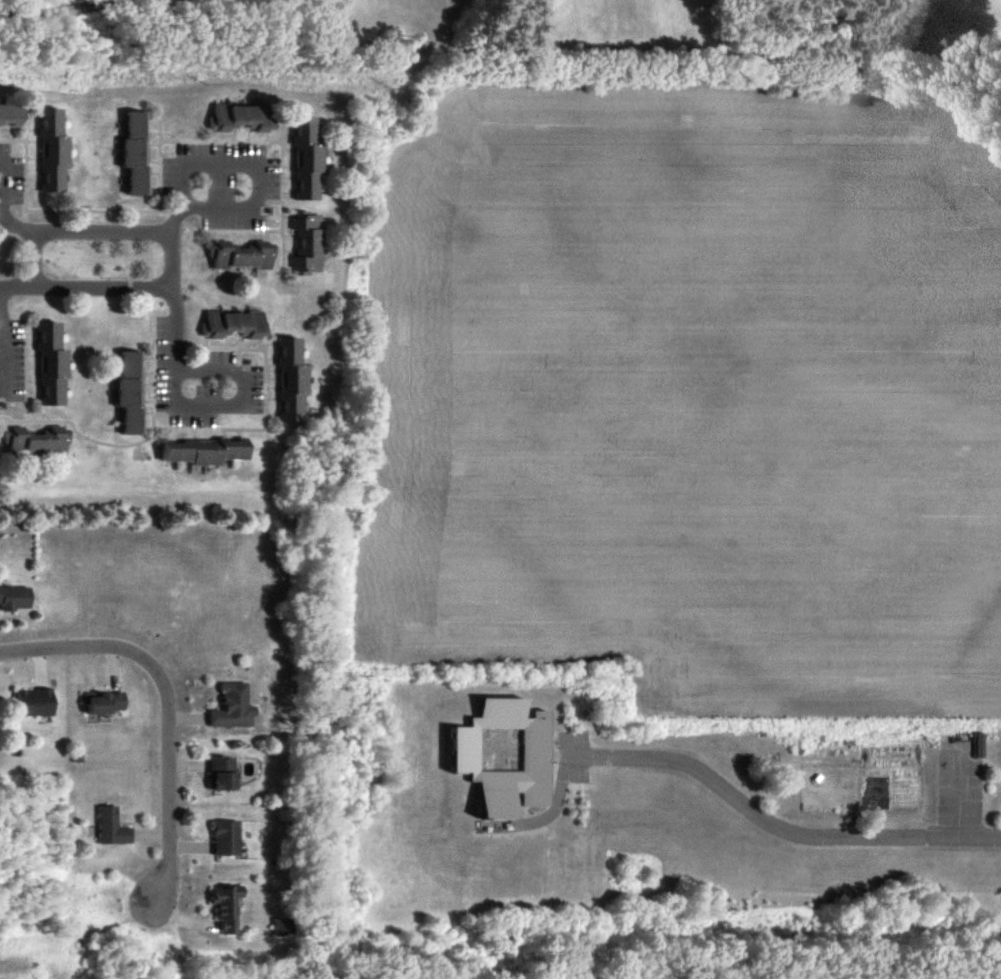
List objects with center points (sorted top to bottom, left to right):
building: (7, 115)
building: (233, 117)
building: (130, 151)
building: (48, 152)
building: (302, 161)
road: (260, 178)
road: (0, 213)
building: (303, 245)
building: (233, 256)
road: (173, 263)
road: (33, 275)
building: (228, 325)
road: (3, 342)
building: (46, 365)
building: (287, 380)
building: (125, 394)
road: (201, 406)
building: (31, 444)
building: (197, 452)
building: (13, 599)
building: (32, 703)
building: (100, 704)
road: (167, 704)
building: (229, 708)
building: (496, 757)
building: (217, 774)
road: (774, 827)
building: (107, 828)
building: (222, 838)
building: (222, 909)
building: (279, 928)

